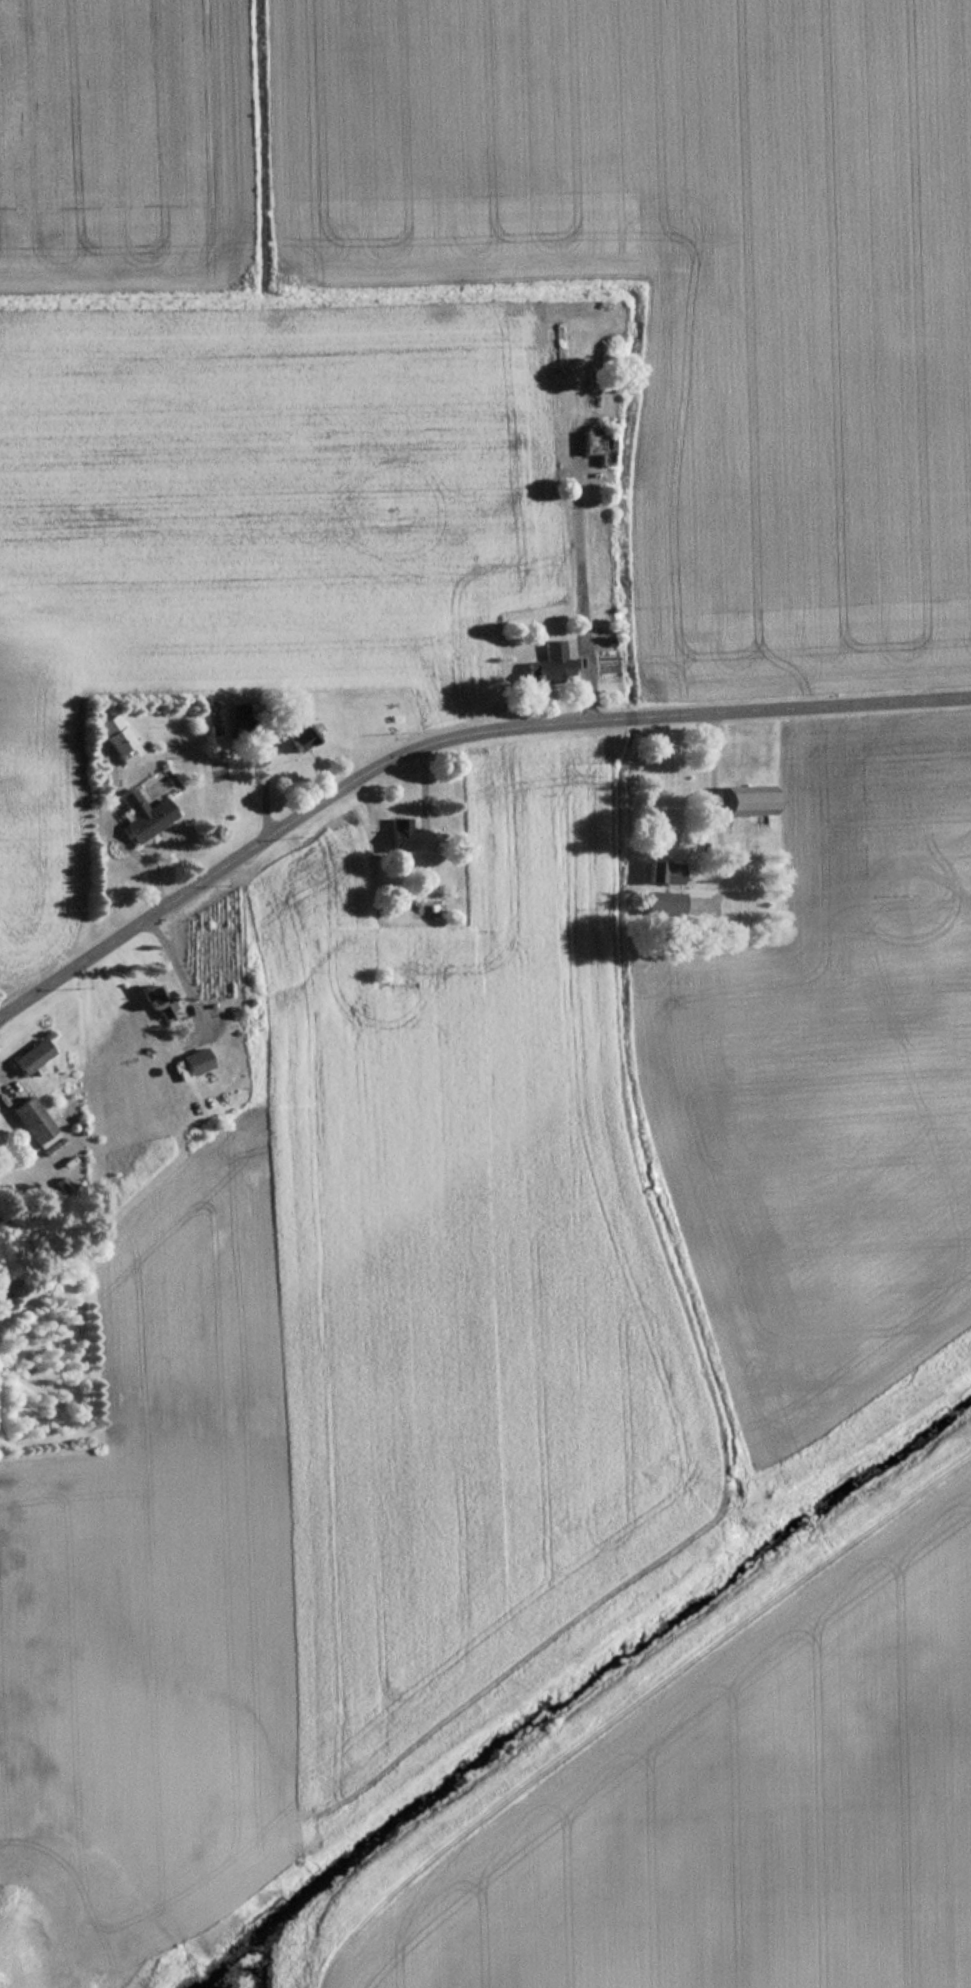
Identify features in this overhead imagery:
building: (596, 444)
road: (579, 575)
building: (551, 666)
building: (240, 715)
building: (296, 731)
road: (445, 734)
building: (118, 737)
building: (743, 800)
building: (144, 814)
building: (408, 836)
building: (663, 872)
building: (662, 903)
building: (420, 908)
building: (159, 999)
building: (32, 1056)
building: (195, 1061)
building: (35, 1122)

